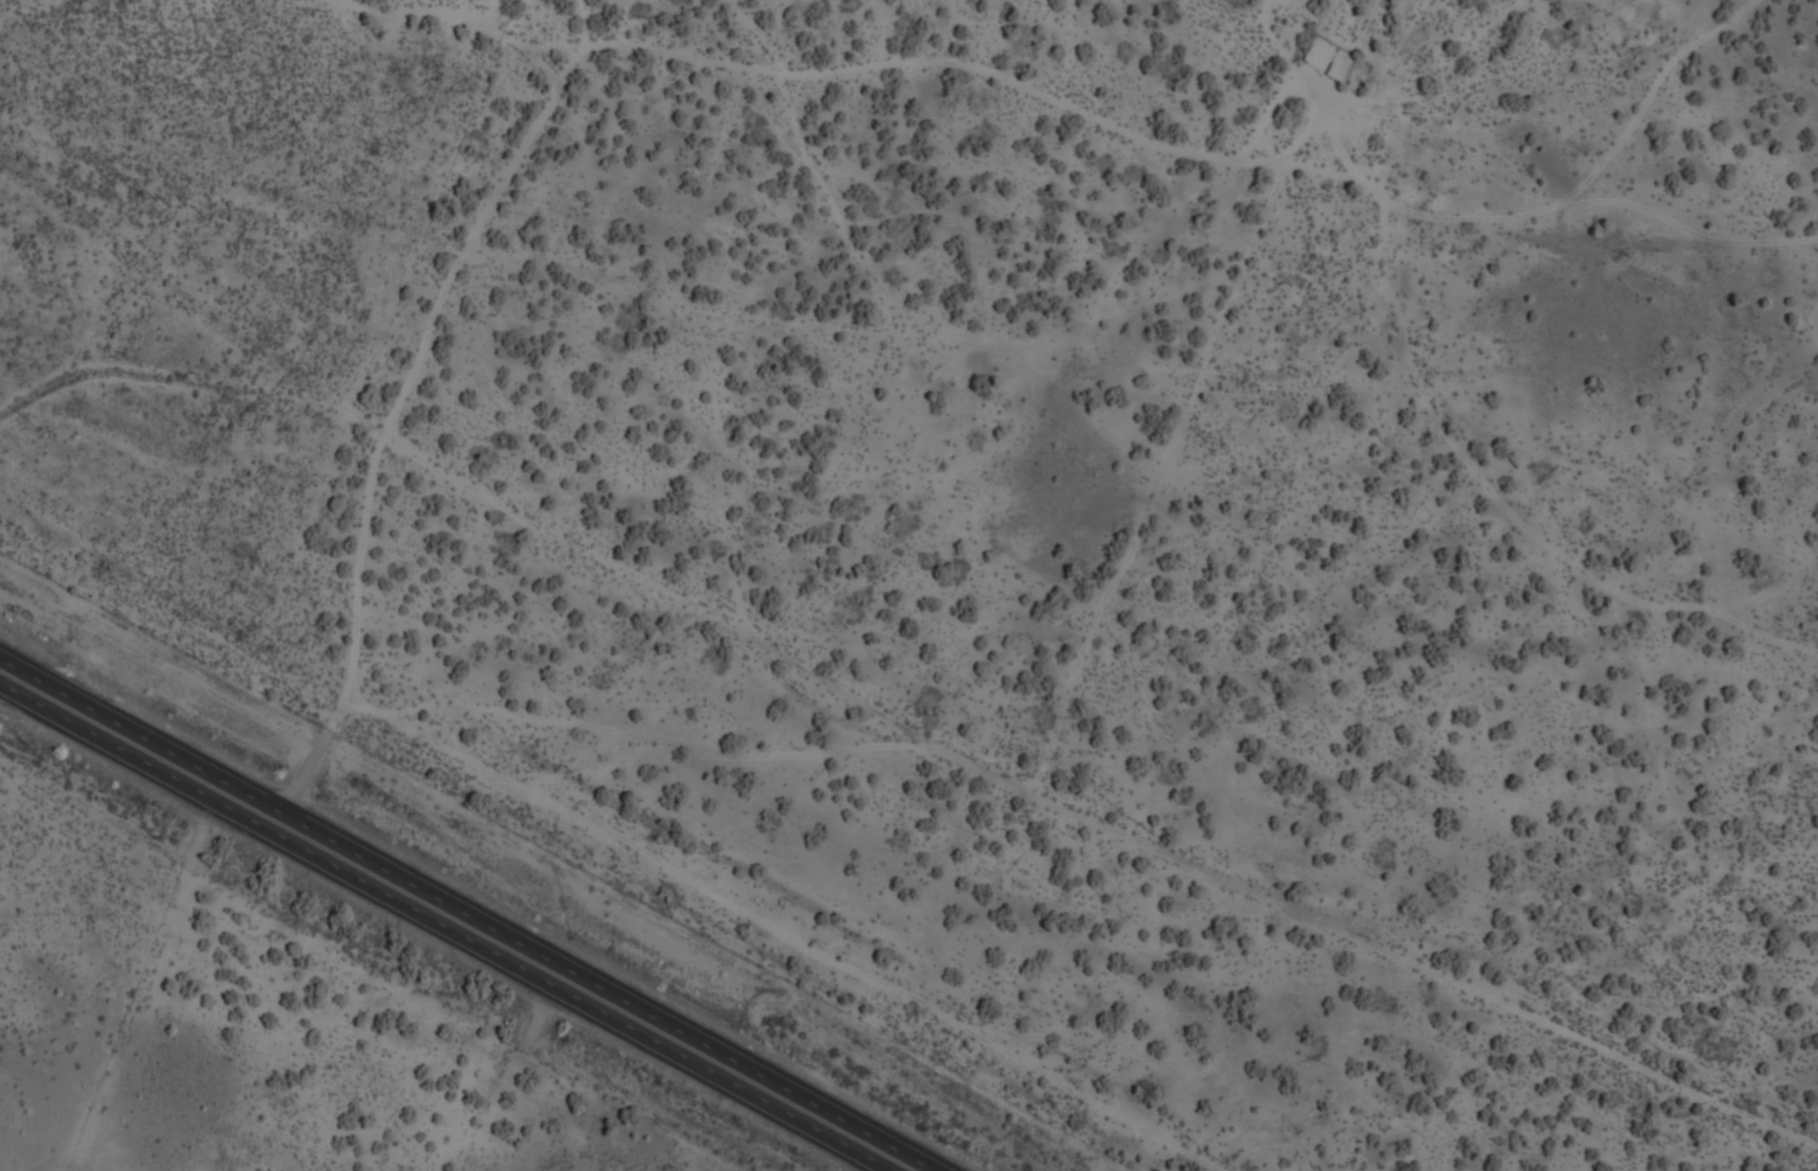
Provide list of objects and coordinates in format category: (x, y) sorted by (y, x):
road: (468, 915)
road: (447, 926)

